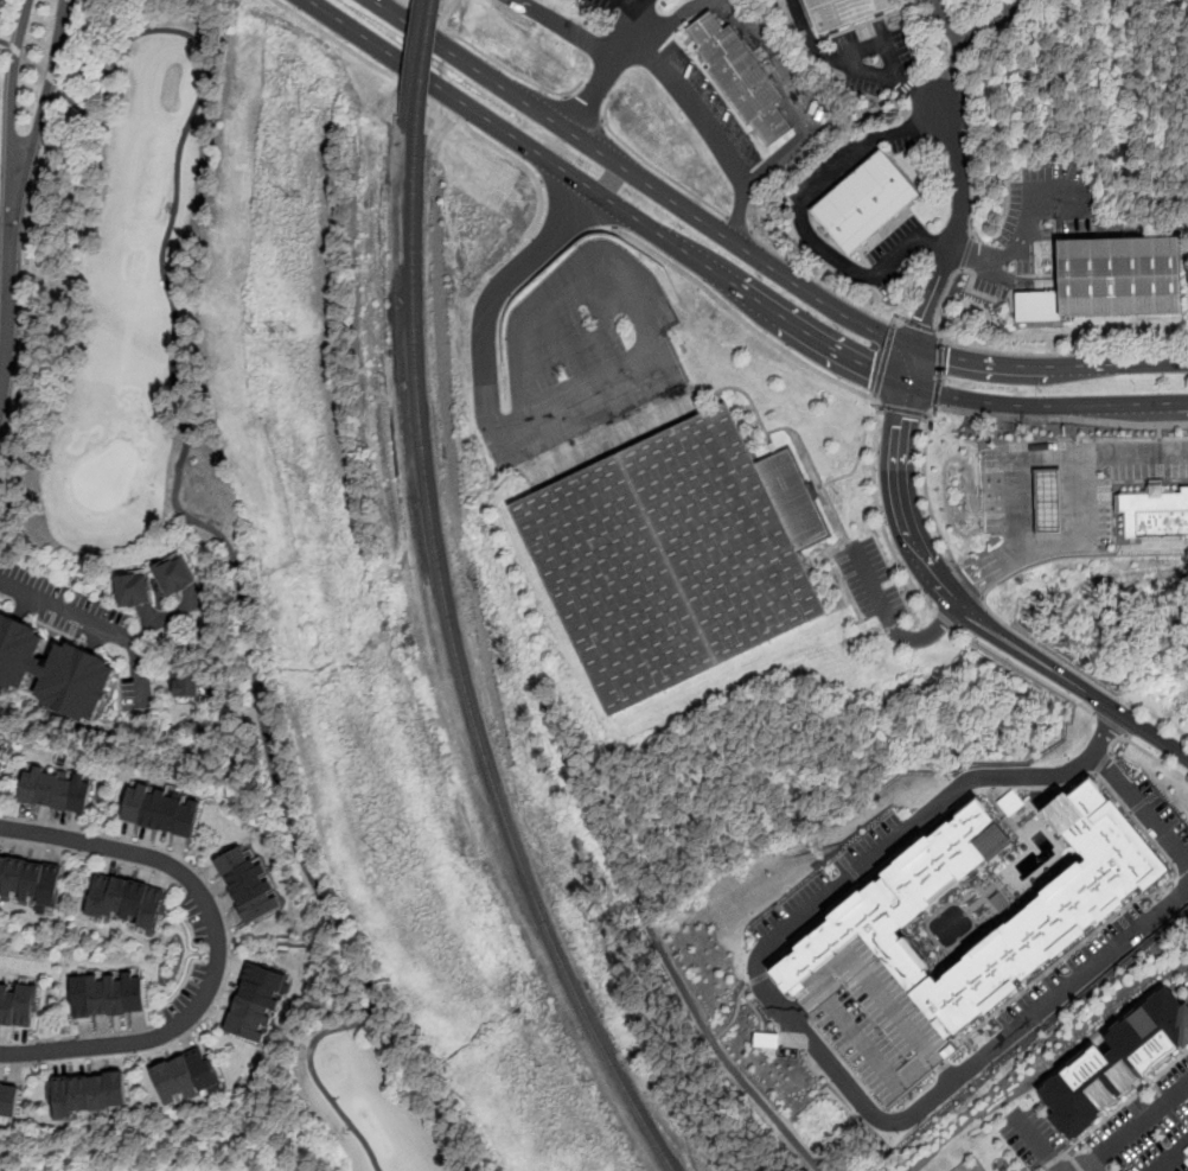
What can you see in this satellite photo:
road: (634, 6)
building: (851, 12)
road: (638, 17)
road: (671, 20)
road: (998, 21)
road: (807, 37)
road: (72, 42)
road: (5, 43)
road: (14, 50)
road: (960, 53)
road: (488, 57)
road: (607, 57)
road: (893, 61)
road: (32, 63)
railway: (424, 64)
road: (12, 75)
road: (49, 77)
road: (50, 77)
building: (741, 81)
road: (915, 93)
road: (564, 95)
road: (798, 98)
road: (432, 102)
road: (582, 109)
road: (700, 114)
road: (602, 120)
road: (970, 160)
road: (653, 167)
road: (638, 178)
road: (538, 182)
power tower: (293, 193)
road: (603, 196)
road: (576, 203)
building: (866, 206)
road: (801, 218)
road: (737, 224)
road: (950, 247)
road: (965, 252)
road: (1013, 252)
road: (8, 278)
road: (26, 278)
road: (824, 285)
building: (1112, 285)
road: (490, 305)
traffic signals: (921, 319)
road: (894, 324)
road: (920, 325)
power tower: (275, 327)
road: (935, 330)
road: (941, 338)
road: (1027, 352)
traffic signals: (949, 356)
road: (939, 357)
road: (884, 359)
road: (1048, 365)
traffic signals: (873, 369)
road: (939, 378)
road: (833, 380)
road: (937, 394)
road: (874, 395)
road: (1045, 405)
road: (880, 407)
road: (935, 408)
road: (903, 409)
road: (982, 414)
road: (927, 415)
traffic signals: (899, 418)
road: (1160, 433)
road: (858, 458)
road: (1061, 462)
building: (1048, 501)
park: (199, 508)
building: (1154, 515)
road: (1085, 535)
road: (230, 549)
building: (682, 560)
road: (984, 569)
building: (174, 574)
road: (967, 579)
road: (869, 583)
building: (134, 587)
road: (973, 615)
road: (945, 619)
road: (96, 623)
road: (925, 634)
building: (53, 669)
road: (1026, 669)
railway: (460, 672)
road: (1080, 672)
building: (187, 686)
road: (1112, 725)
building: (2, 747)
road: (1155, 757)
building: (57, 790)
road: (1125, 791)
building: (161, 810)
road: (903, 832)
power tower: (391, 839)
building: (31, 882)
building: (248, 884)
building: (124, 902)
building: (1071, 910)
road: (215, 947)
building: (108, 995)
building: (255, 1004)
building: (17, 1005)
road: (736, 1011)
building: (875, 1019)
parking garage: (875, 1019)
road: (722, 1055)
building: (1119, 1061)
road: (963, 1067)
building: (186, 1078)
building: (89, 1094)
building: (8, 1100)
road: (1136, 1128)
road: (1039, 1143)
road: (1171, 1157)
road: (1080, 1165)

